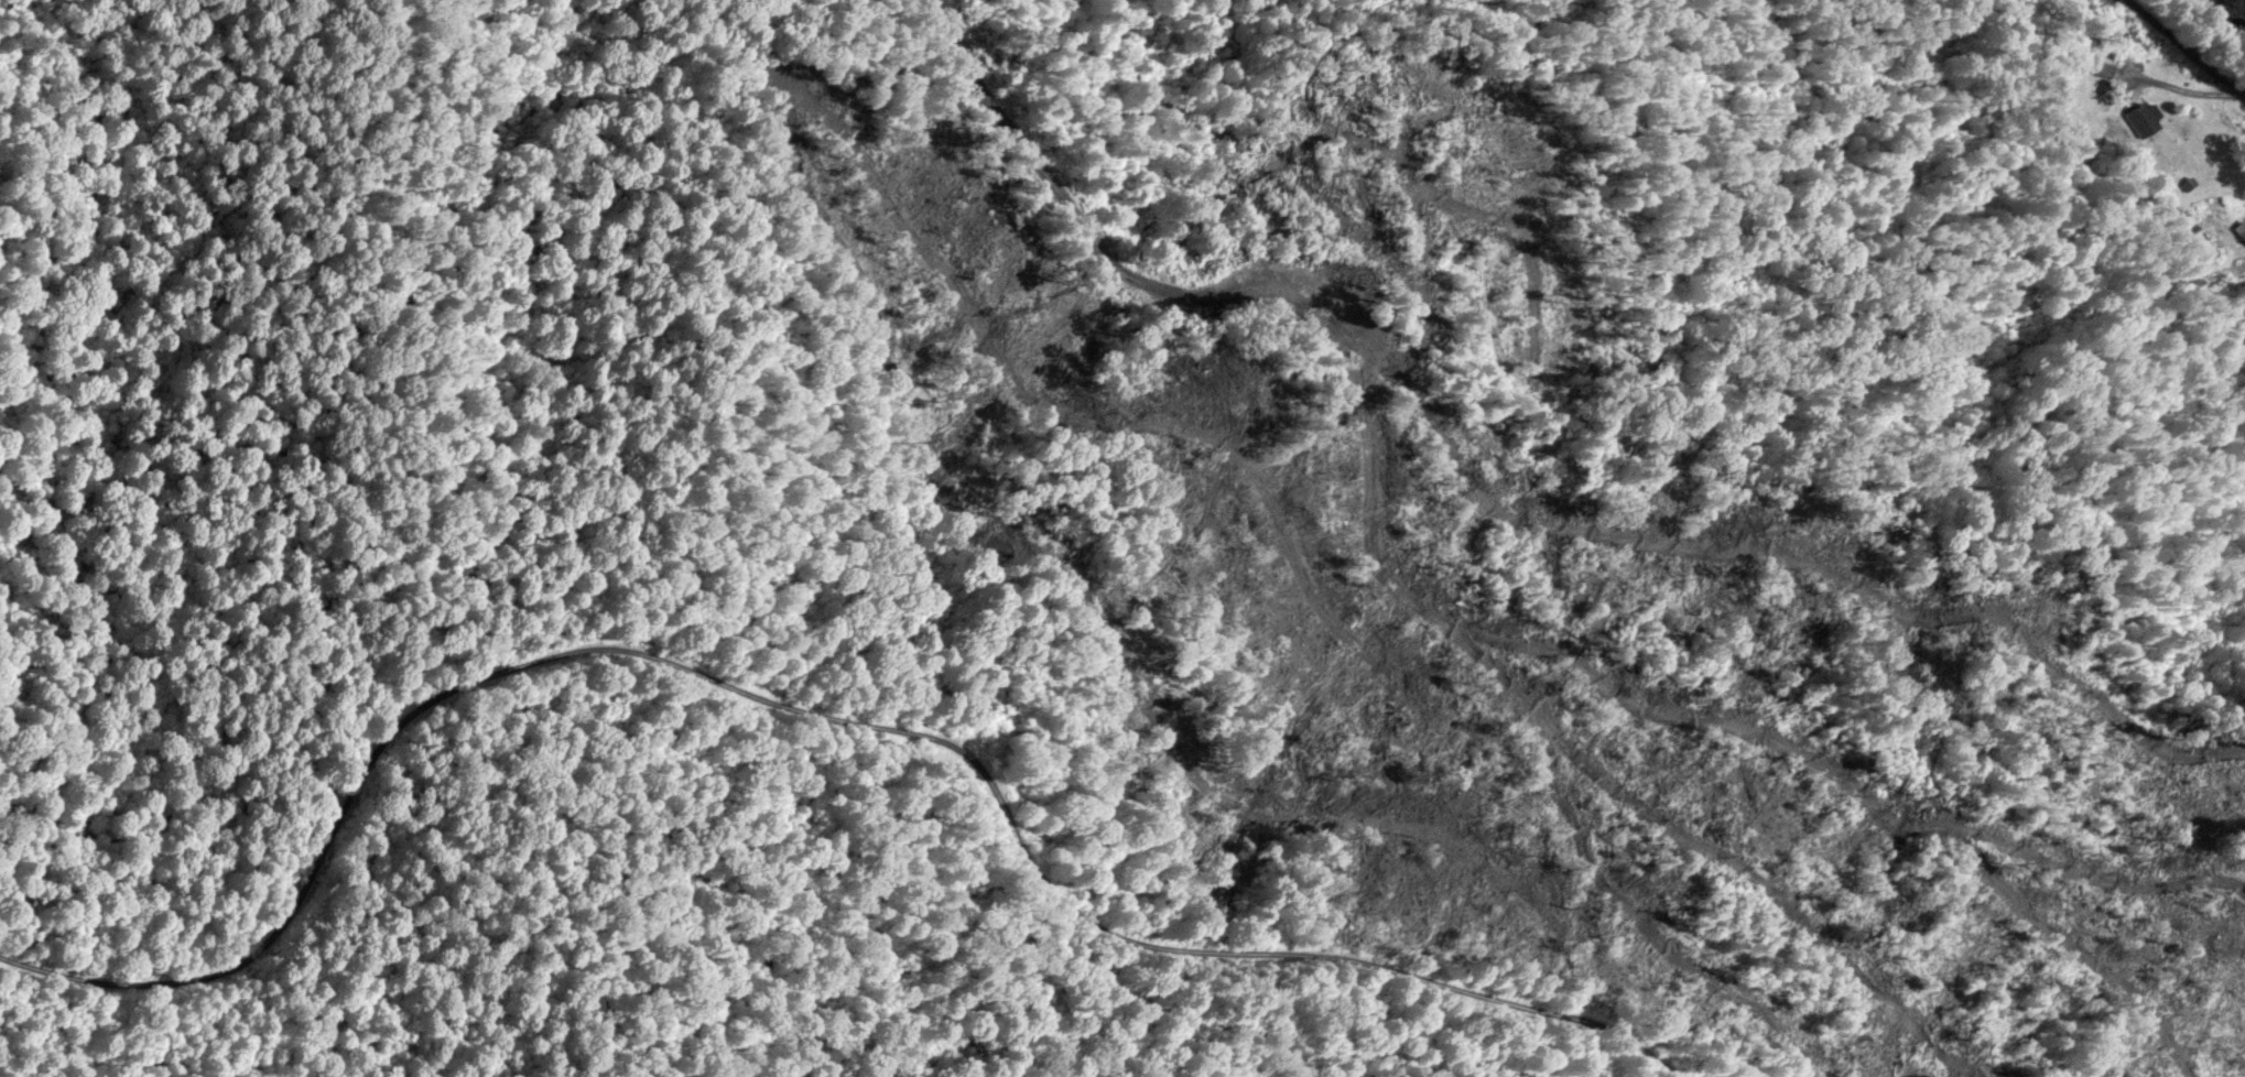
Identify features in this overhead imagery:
river: (2228, 11)
road: (2192, 47)

